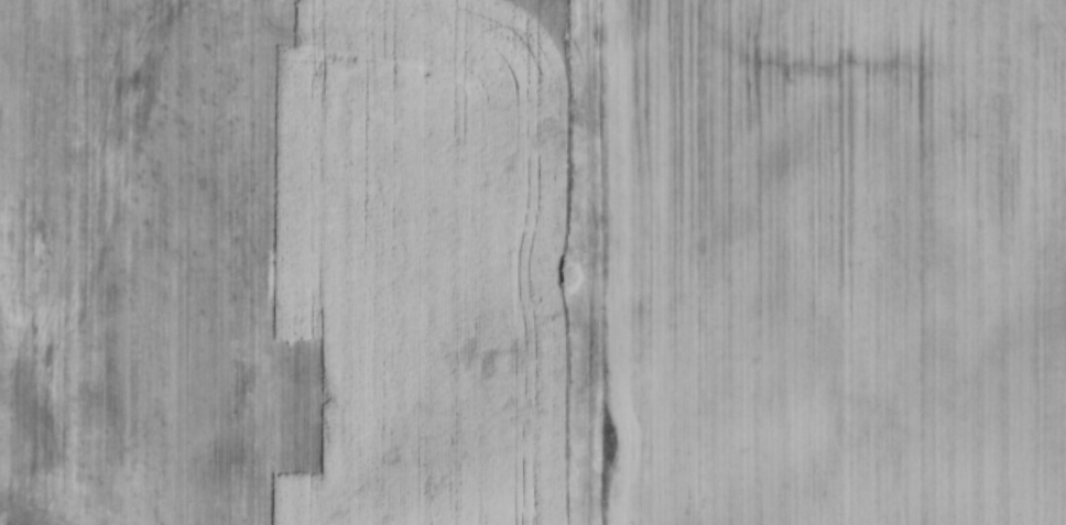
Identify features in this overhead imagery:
road: (595, 262)

